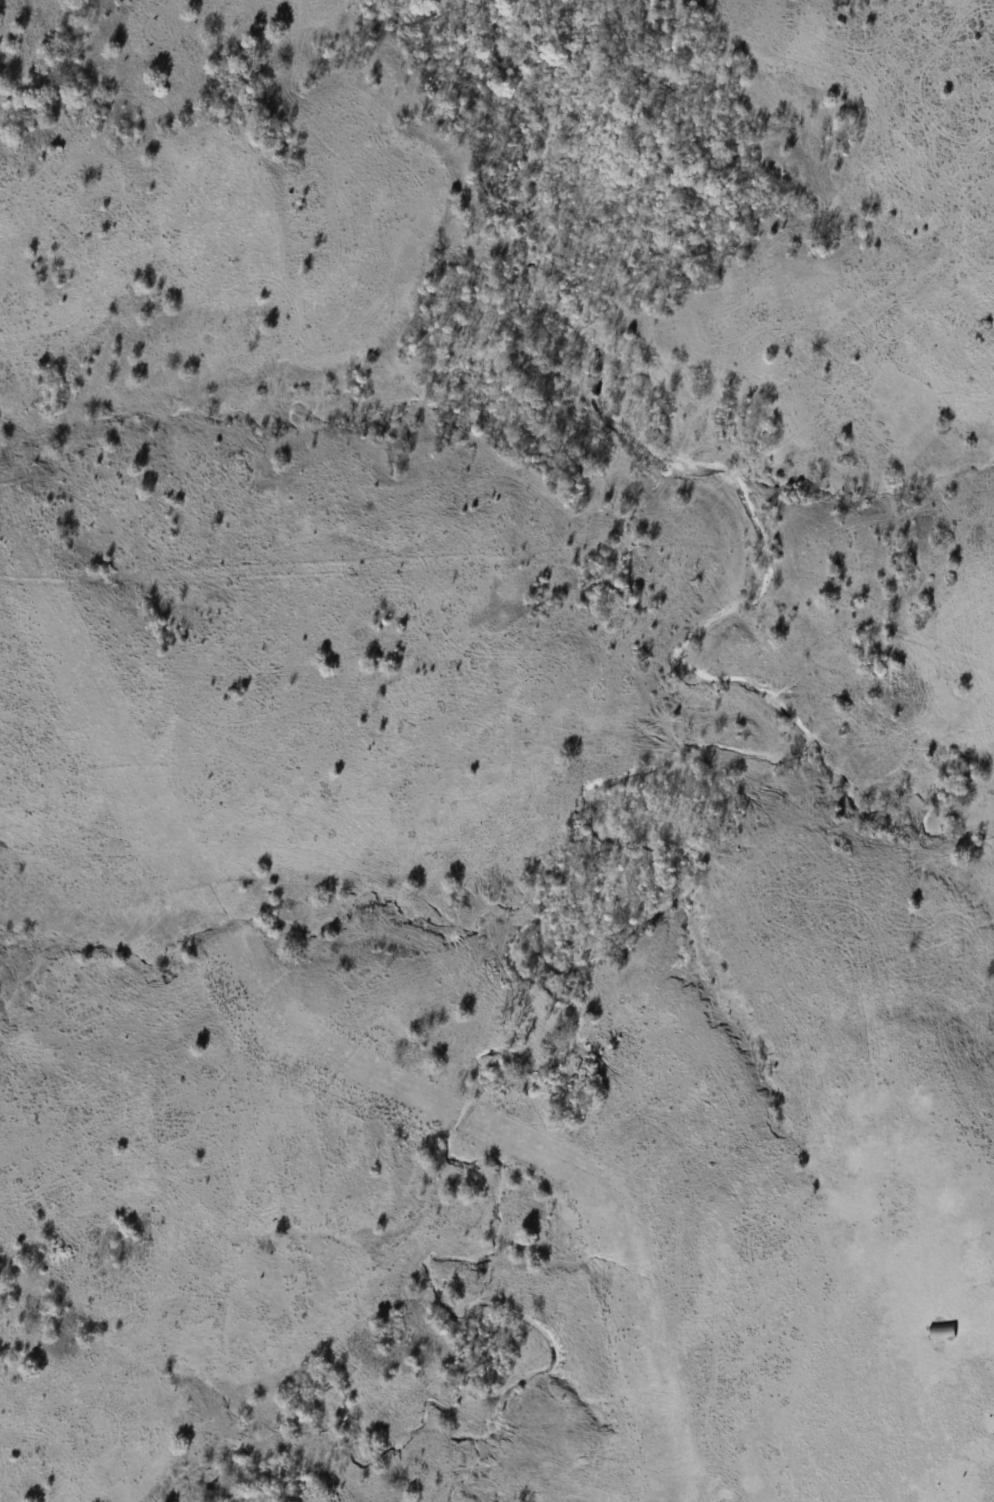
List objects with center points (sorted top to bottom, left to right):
building: (940, 1333)

